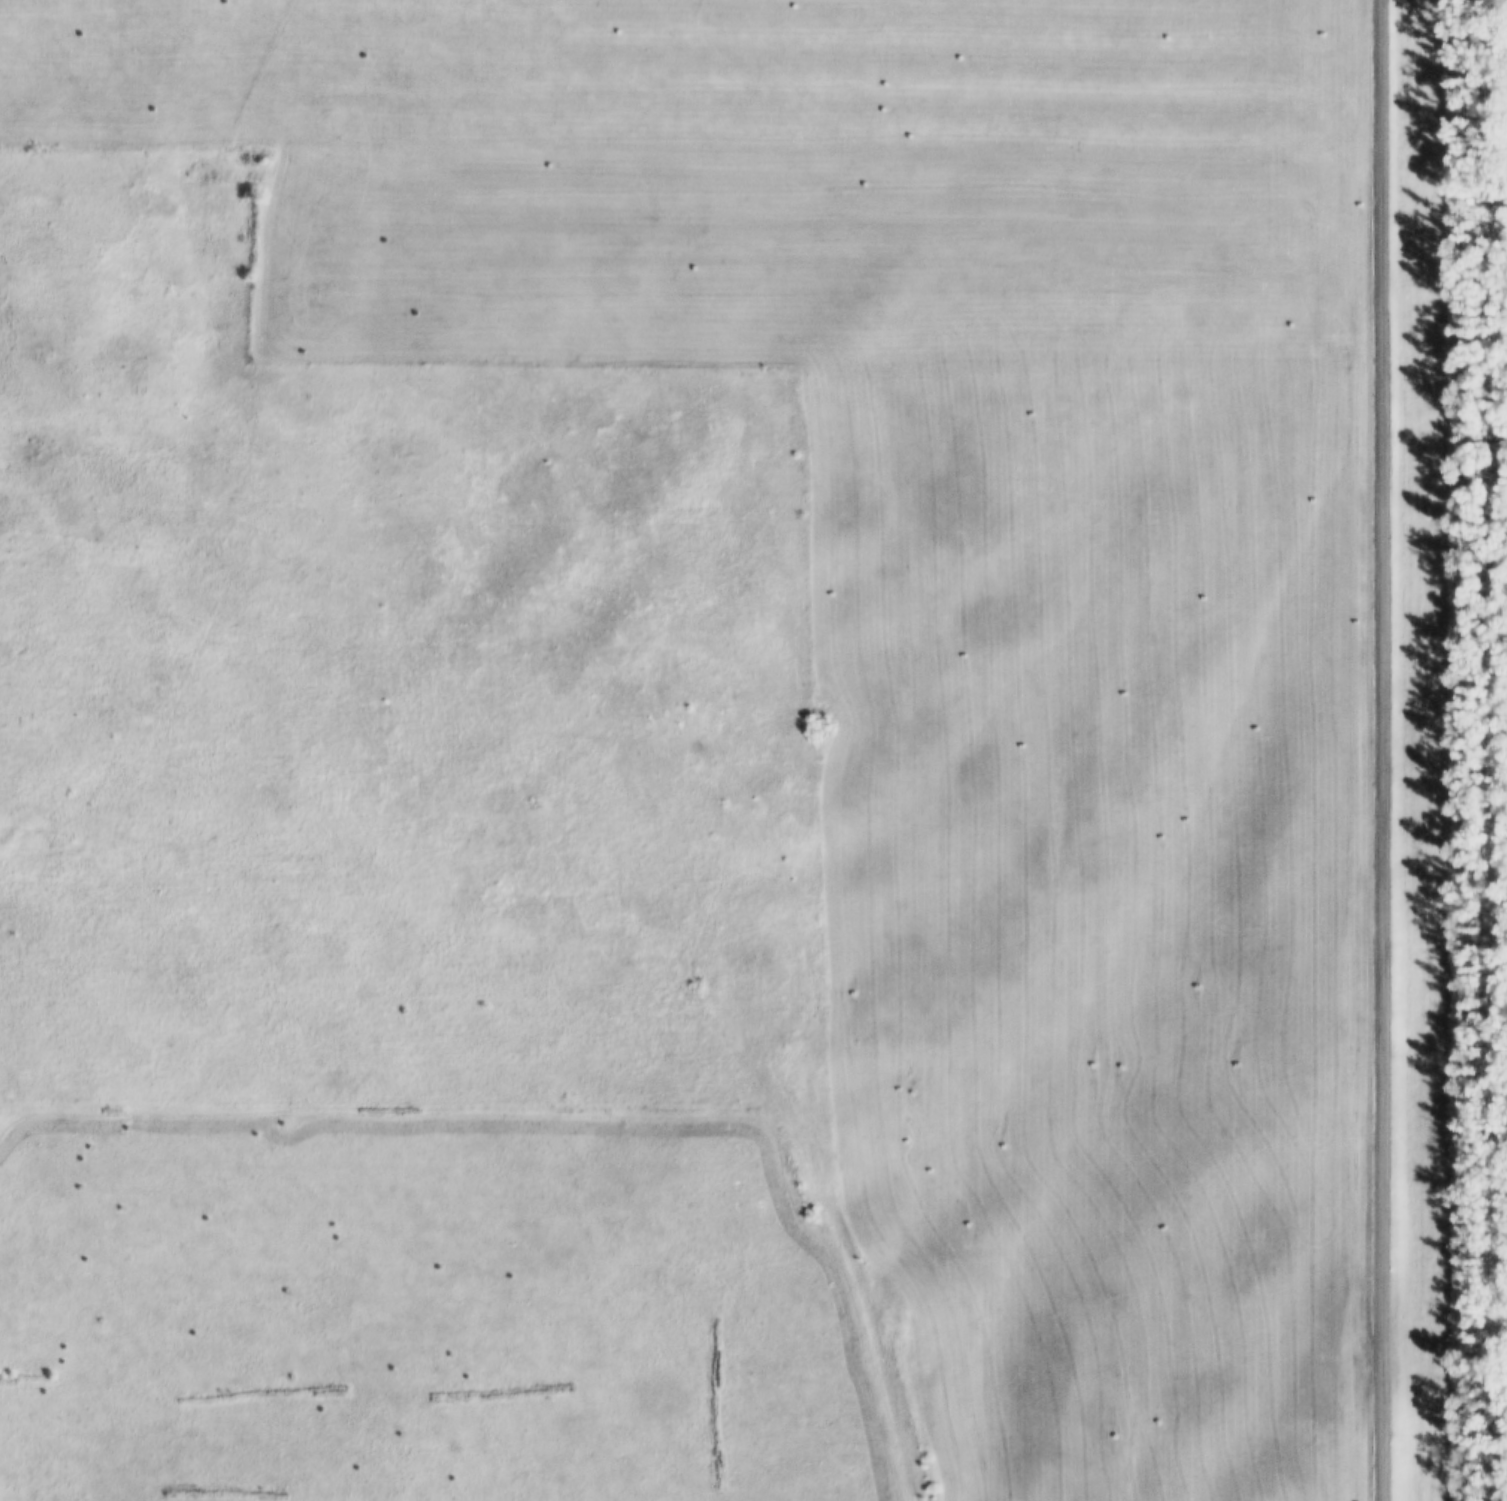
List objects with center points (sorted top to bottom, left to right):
road: (1388, 750)

